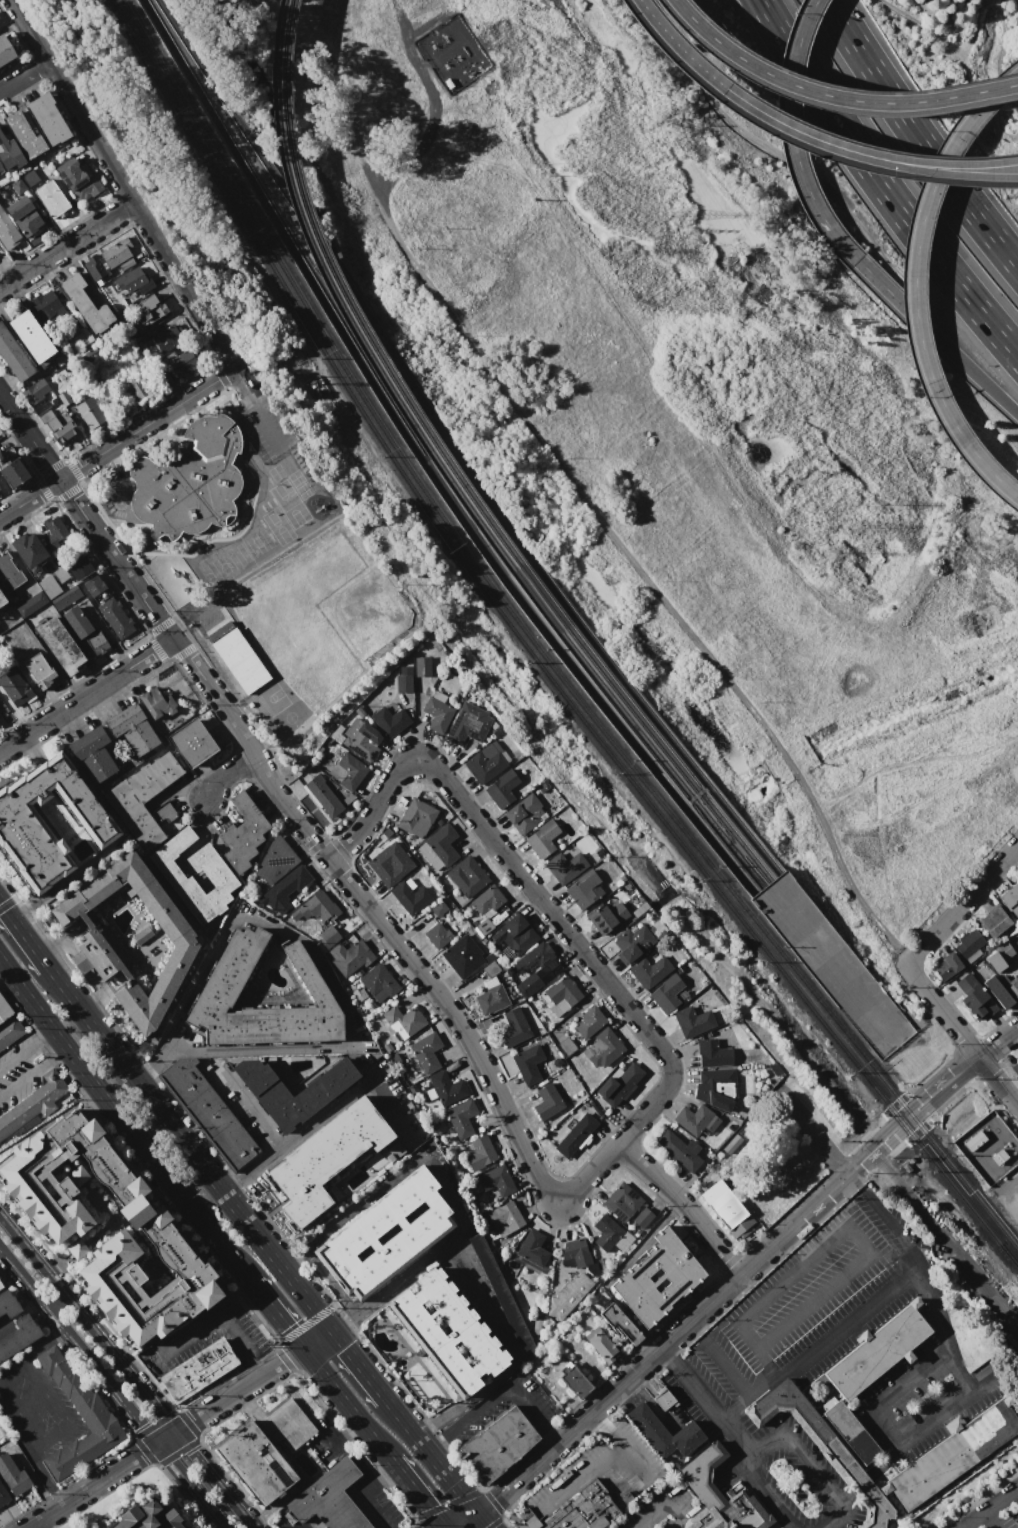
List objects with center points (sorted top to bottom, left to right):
road: (808, 10)
road: (811, 10)
road: (414, 39)
road: (671, 42)
building: (443, 49)
building: (5, 50)
road: (26, 81)
road: (831, 96)
building: (48, 118)
building: (24, 134)
road: (917, 137)
road: (414, 144)
road: (793, 148)
road: (857, 149)
building: (10, 154)
road: (854, 157)
building: (1, 169)
building: (30, 177)
building: (80, 181)
road: (880, 184)
building: (18, 186)
road: (123, 186)
building: (52, 199)
power tower: (678, 214)
building: (24, 215)
power tower: (655, 229)
building: (8, 230)
road: (67, 248)
power tower: (625, 250)
building: (110, 258)
building: (132, 280)
road: (913, 285)
road: (893, 296)
railway: (348, 301)
building: (86, 304)
railway: (338, 304)
building: (46, 305)
building: (151, 308)
building: (86, 334)
building: (77, 335)
building: (31, 337)
building: (169, 338)
building: (141, 340)
building: (14, 356)
building: (185, 362)
road: (974, 373)
building: (132, 388)
building: (35, 392)
building: (65, 398)
road: (257, 408)
building: (92, 414)
building: (53, 423)
road: (147, 426)
building: (66, 432)
road: (29, 436)
railway: (452, 446)
railway: (424, 462)
building: (15, 472)
building: (188, 481)
park: (298, 483)
building: (0, 486)
road: (29, 498)
park: (288, 503)
power tower: (875, 504)
road: (601, 522)
park: (276, 526)
power tower: (854, 526)
building: (54, 531)
building: (28, 550)
power tower: (830, 552)
road: (118, 560)
building: (80, 568)
park: (216, 572)
building: (9, 573)
building: (60, 574)
building: (48, 586)
building: (96, 588)
building: (65, 597)
building: (2, 598)
building: (30, 603)
park: (321, 613)
building: (115, 618)
building: (76, 623)
road: (108, 636)
building: (94, 643)
railway: (536, 646)
building: (60, 647)
railway: (531, 654)
building: (237, 657)
building: (422, 667)
building: (38, 670)
building: (404, 680)
building: (15, 686)
road: (88, 696)
park: (270, 698)
building: (158, 703)
building: (437, 712)
building: (389, 720)
building: (468, 724)
railway: (642, 724)
building: (132, 728)
railway: (634, 729)
building: (361, 739)
building: (192, 742)
building: (93, 754)
building: (486, 762)
building: (346, 771)
road: (228, 775)
building: (502, 787)
building: (322, 795)
building: (127, 797)
building: (525, 813)
building: (416, 817)
building: (20, 818)
building: (242, 834)
building: (542, 837)
building: (444, 845)
building: (275, 861)
building: (384, 865)
building: (565, 866)
building: (1017, 875)
building: (467, 876)
building: (219, 877)
building: (585, 889)
building: (284, 890)
building: (410, 896)
road: (541, 896)
building: (1011, 898)
building: (486, 900)
road: (962, 903)
building: (316, 907)
building: (607, 917)
building: (993, 921)
building: (483, 926)
building: (437, 933)
building: (516, 933)
road: (23, 934)
building: (143, 935)
building: (328, 936)
building: (100, 942)
building: (631, 942)
building: (970, 945)
building: (1017, 949)
building: (1003, 950)
road: (405, 952)
building: (462, 956)
building: (352, 958)
building: (532, 959)
building: (946, 966)
road: (320, 968)
building: (490, 968)
building: (648, 970)
building: (227, 978)
building: (378, 980)
building: (528, 989)
building: (1013, 989)
building: (666, 992)
building: (997, 992)
building: (562, 994)
building: (490, 999)
building: (977, 1003)
building: (4, 1012)
building: (403, 1021)
building: (693, 1021)
building: (588, 1022)
building: (515, 1026)
building: (9, 1030)
road: (962, 1034)
road: (998, 1041)
road: (966, 1043)
building: (566, 1046)
road: (987, 1047)
building: (601, 1048)
road: (26, 1050)
building: (425, 1051)
building: (712, 1053)
building: (527, 1063)
road: (997, 1063)
building: (1014, 1068)
parking lot: (19, 1070)
road: (32, 1071)
road: (988, 1073)
road: (932, 1075)
building: (617, 1081)
road: (978, 1085)
building: (324, 1086)
building: (444, 1087)
building: (715, 1088)
road: (947, 1100)
building: (546, 1102)
building: (33, 1103)
road: (246, 1103)
road: (893, 1104)
road: (992, 1106)
road: (389, 1109)
building: (207, 1113)
building: (460, 1118)
road: (122, 1121)
building: (697, 1121)
road: (806, 1126)
road: (306, 1127)
road: (918, 1133)
building: (574, 1134)
road: (865, 1135)
building: (988, 1147)
road: (896, 1148)
road: (187, 1150)
building: (681, 1150)
building: (480, 1153)
building: (328, 1158)
road: (884, 1160)
road: (836, 1164)
road: (858, 1164)
road: (842, 1170)
building: (77, 1175)
building: (495, 1180)
building: (621, 1201)
road: (684, 1205)
building: (725, 1207)
building: (641, 1217)
building: (505, 1218)
building: (62, 1228)
road: (456, 1228)
building: (384, 1232)
building: (606, 1232)
road: (944, 1242)
building: (76, 1248)
building: (532, 1248)
road: (868, 1252)
building: (575, 1253)
railway: (1017, 1265)
railway: (1017, 1265)
road: (925, 1274)
building: (655, 1277)
road: (392, 1282)
building: (0, 1284)
building: (0, 1287)
building: (502, 1295)
building: (565, 1296)
building: (7, 1303)
road: (275, 1315)
road: (849, 1323)
building: (618, 1324)
road: (210, 1325)
building: (448, 1332)
building: (18, 1336)
road: (39, 1340)
building: (600, 1344)
building: (877, 1350)
road: (666, 1354)
road: (766, 1361)
road: (259, 1364)
road: (726, 1364)
road: (357, 1365)
building: (197, 1369)
road: (127, 1371)
road: (40, 1378)
building: (574, 1379)
road: (113, 1391)
road: (892, 1392)
road: (746, 1394)
road: (608, 1396)
road: (496, 1397)
building: (662, 1399)
road: (347, 1405)
road: (709, 1405)
road: (949, 1408)
road: (600, 1413)
building: (94, 1414)
road: (20, 1418)
road: (345, 1427)
road: (178, 1429)
road: (406, 1429)
building: (663, 1432)
building: (850, 1432)
road: (51, 1439)
building: (498, 1443)
road: (626, 1446)
building: (961, 1447)
building: (822, 1448)
building: (265, 1450)
road: (801, 1452)
building: (12, 1474)
road: (579, 1475)
road: (369, 1476)
road: (47, 1480)
road: (452, 1485)
road: (1017, 1493)
building: (3, 1494)
road: (418, 1494)
building: (718, 1495)
road: (762, 1495)
building: (328, 1498)
road: (661, 1502)
road: (991, 1508)
building: (576, 1510)
building: (145, 1516)
road: (463, 1520)
road: (480, 1520)
road: (988, 1521)
road: (391, 1526)
building: (186, 1527)

